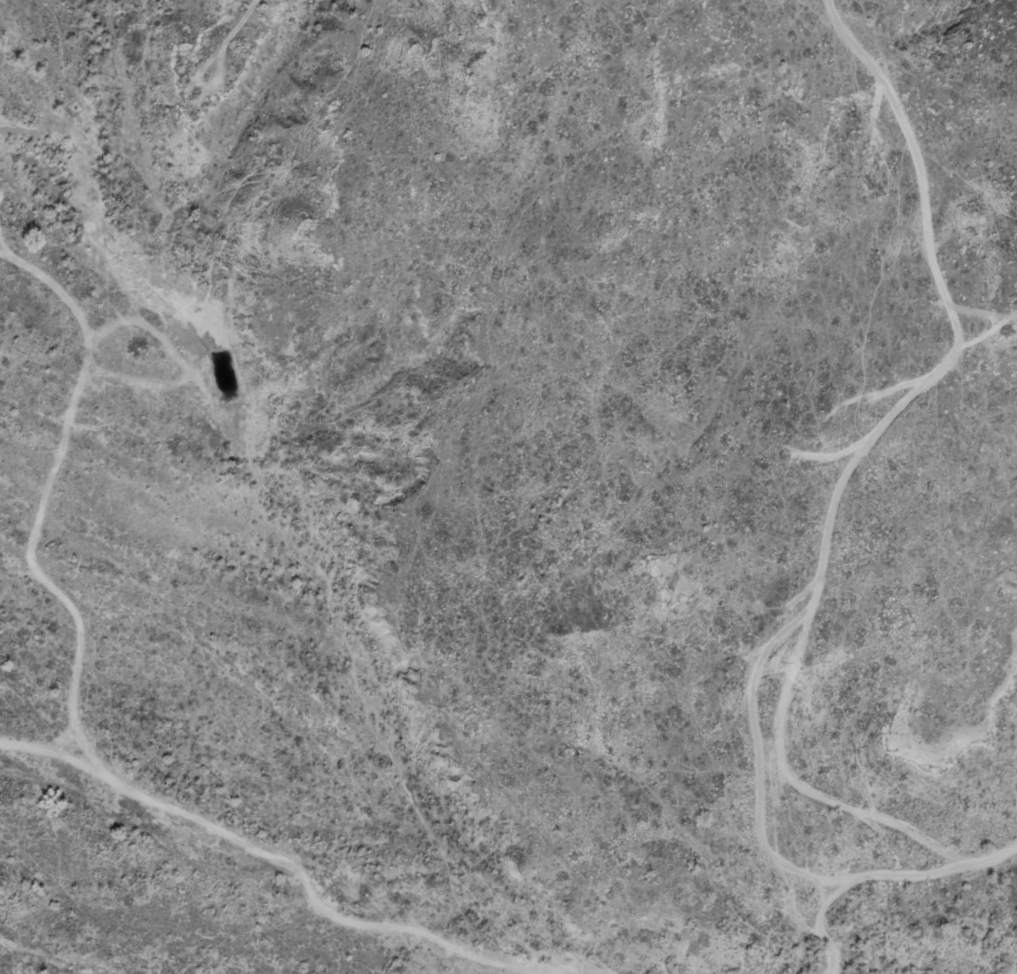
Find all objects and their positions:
road: (841, 480)

